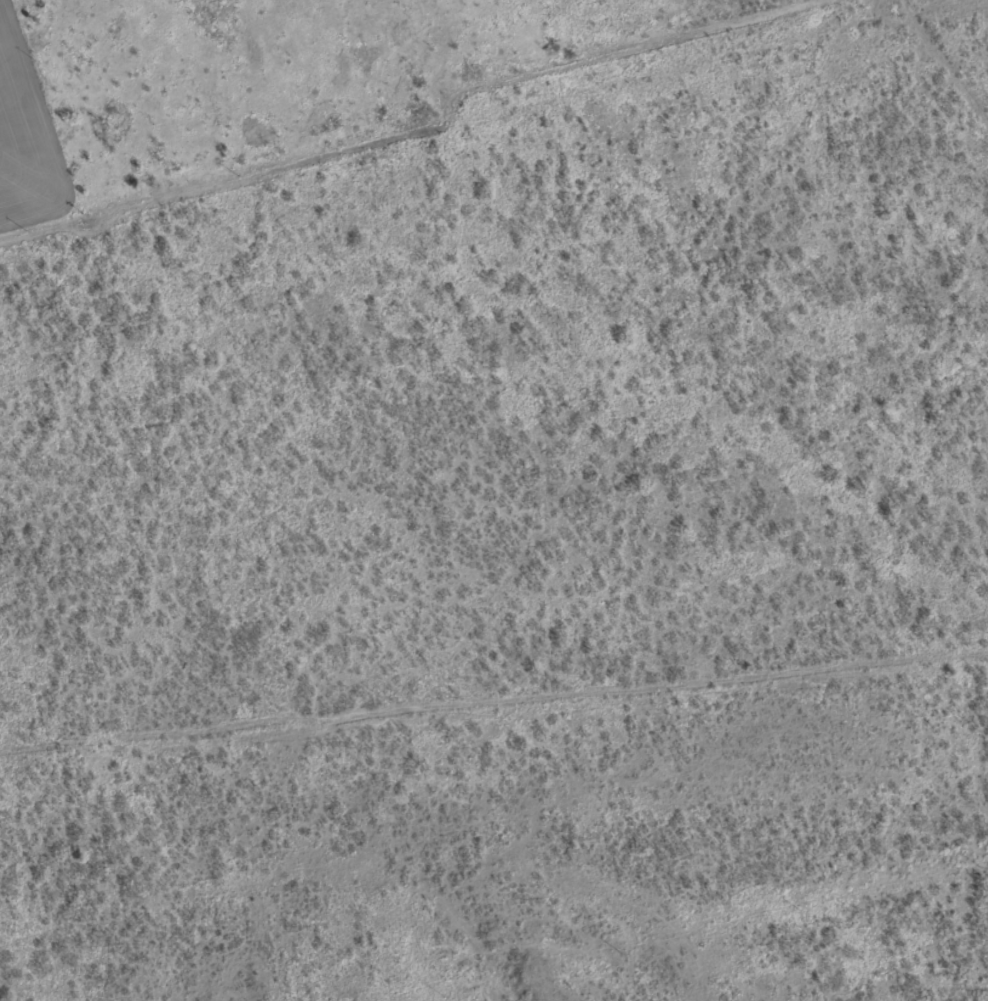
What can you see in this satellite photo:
road: (954, 30)
road: (909, 44)
road: (493, 706)

